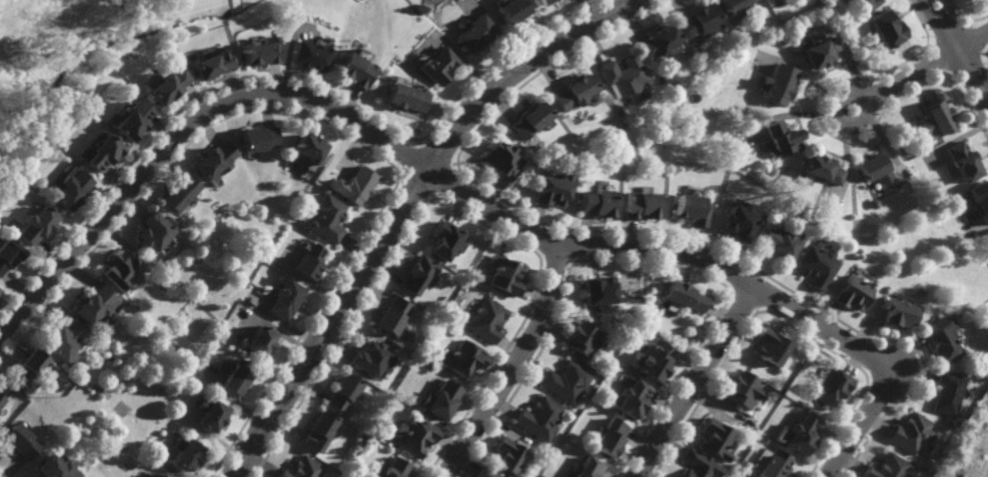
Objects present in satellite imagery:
building: (542, 0)
building: (868, 3)
building: (736, 4)
building: (512, 8)
road: (947, 13)
road: (935, 14)
building: (702, 18)
building: (890, 26)
building: (476, 30)
building: (660, 39)
road: (974, 40)
building: (821, 48)
building: (261, 52)
building: (311, 54)
building: (214, 62)
road: (968, 62)
building: (438, 63)
building: (354, 67)
building: (625, 73)
road: (913, 74)
building: (780, 83)
building: (169, 84)
building: (578, 91)
building: (405, 95)
road: (865, 100)
building: (940, 117)
building: (134, 119)
building: (533, 119)
building: (262, 137)
building: (785, 138)
building: (310, 148)
building: (104, 152)
building: (218, 159)
building: (503, 159)
building: (964, 160)
building: (824, 169)
building: (880, 171)
building: (357, 185)
building: (555, 187)
building: (71, 189)
road: (463, 191)
building: (183, 193)
building: (980, 198)
building: (600, 202)
building: (875, 203)
building: (641, 204)
road: (403, 208)
building: (692, 209)
building: (326, 218)
building: (739, 223)
building: (37, 225)
building: (156, 233)
building: (447, 240)
building: (779, 241)
building: (9, 253)
building: (309, 261)
building: (820, 265)
building: (123, 270)
building: (417, 275)
building: (506, 277)
building: (602, 291)
building: (855, 293)
building: (686, 296)
building: (289, 298)
building: (98, 306)
building: (901, 313)
building: (393, 316)
building: (487, 321)
building: (945, 338)
building: (584, 340)
building: (67, 342)
building: (264, 342)
building: (772, 346)
building: (370, 359)
building: (466, 359)
building: (651, 364)
road: (515, 365)
building: (33, 368)
building: (239, 380)
building: (567, 382)
road: (697, 382)
building: (830, 388)
building: (743, 390)
building: (343, 394)
building: (949, 394)
building: (634, 400)
building: (2, 401)
building: (441, 402)
building: (215, 418)
building: (540, 419)
building: (321, 433)
building: (913, 434)
building: (804, 435)
building: (415, 438)
building: (611, 438)
building: (716, 439)
building: (22, 443)
building: (510, 457)
building: (190, 458)
building: (700, 465)
building: (776, 465)
building: (307, 468)
building: (889, 468)
building: (58, 469)
building: (394, 469)
building: (588, 469)
building: (485, 473)
building: (159, 476)

